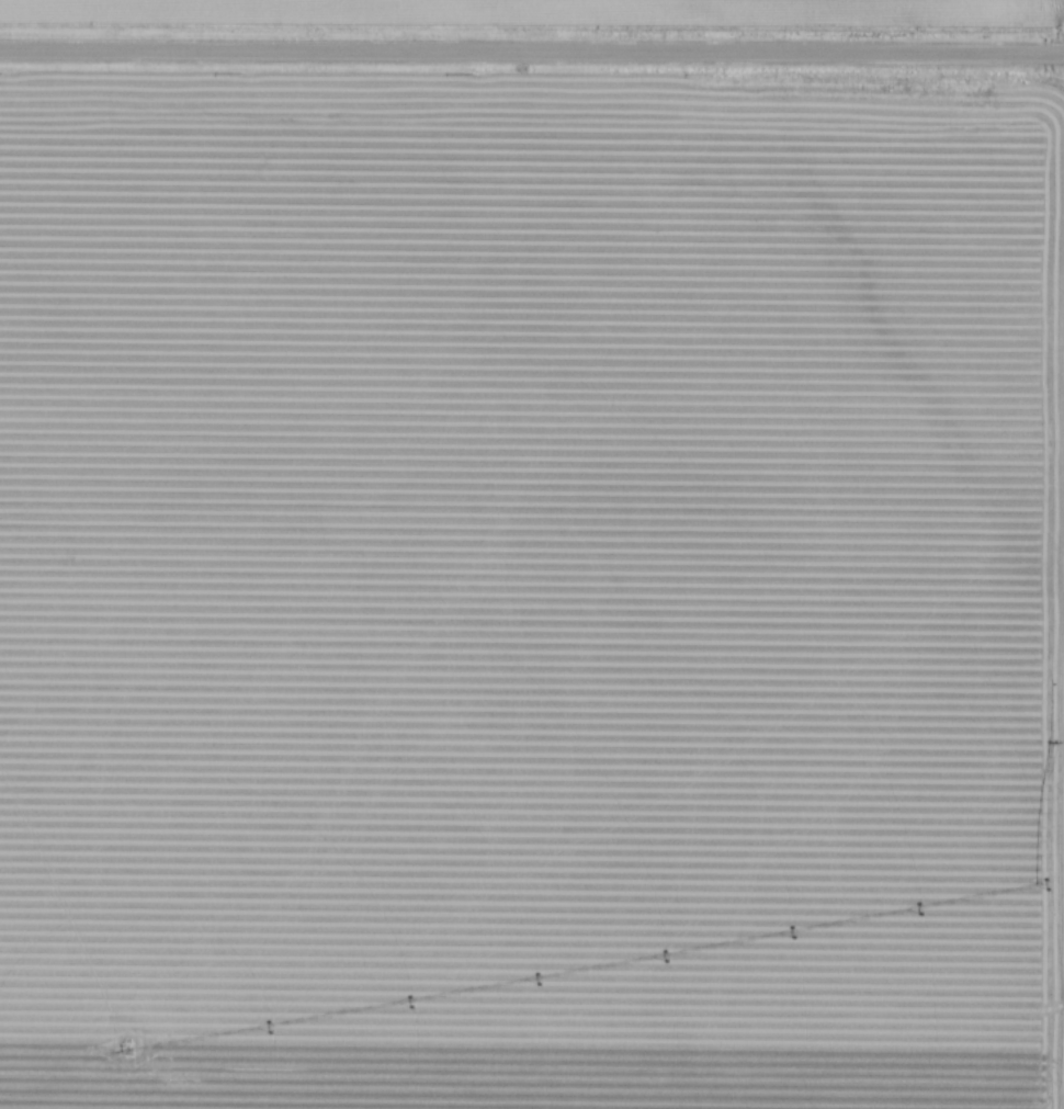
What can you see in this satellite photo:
crop: (571, 10)
road: (531, 53)
crop: (531, 591)

